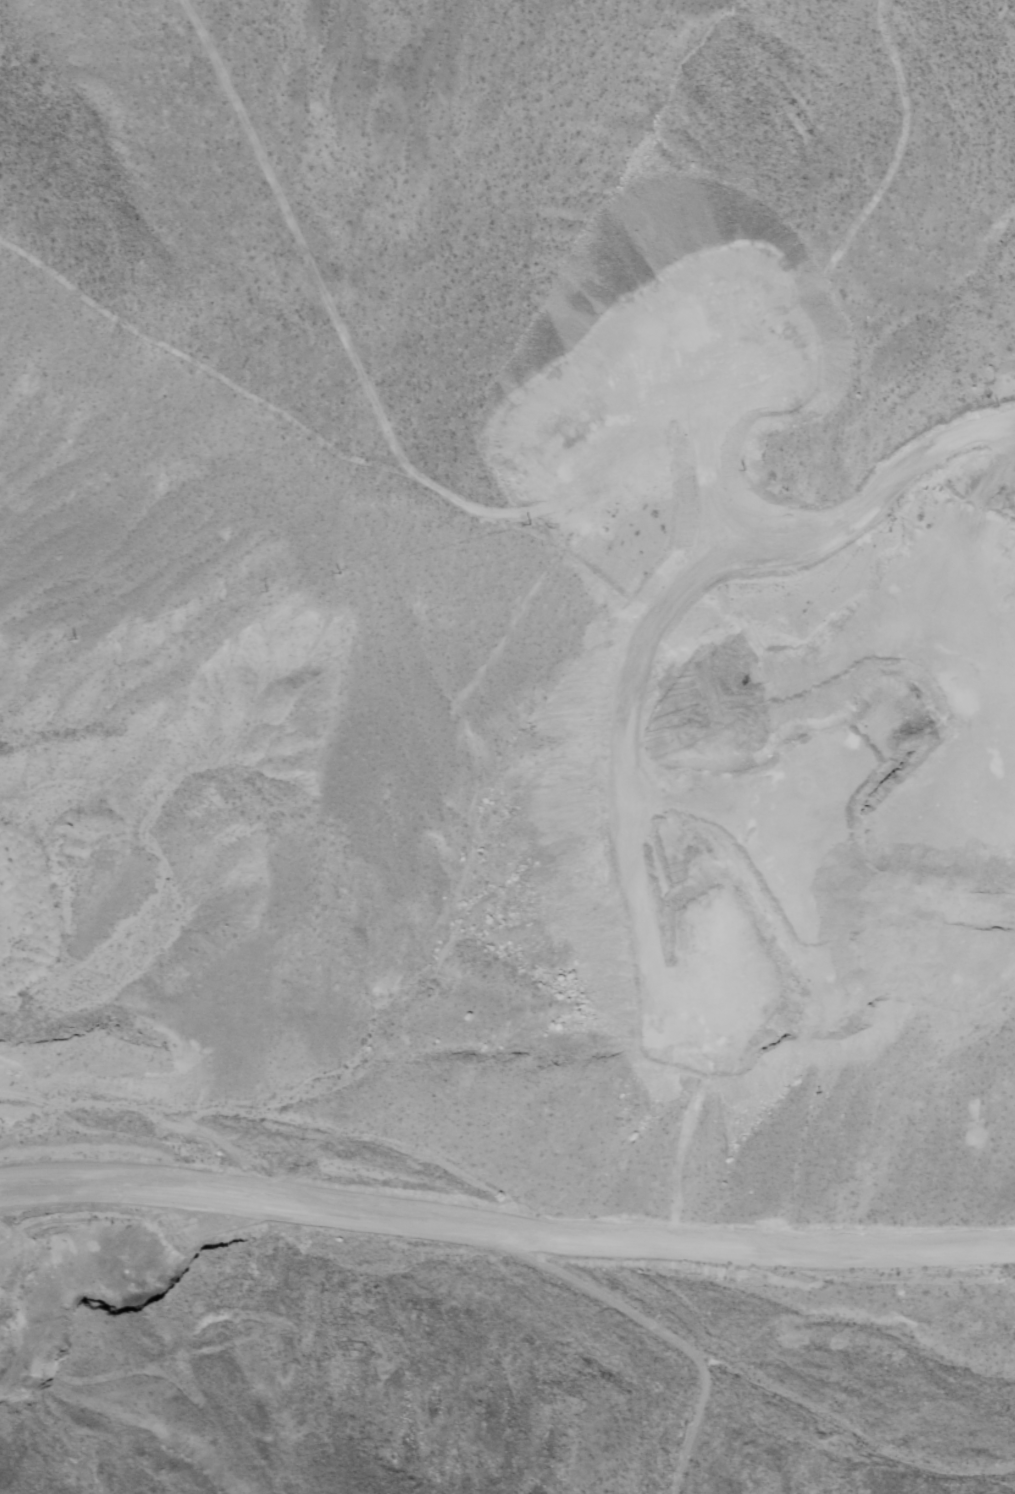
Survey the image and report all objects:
road: (506, 1233)
road: (649, 1330)

